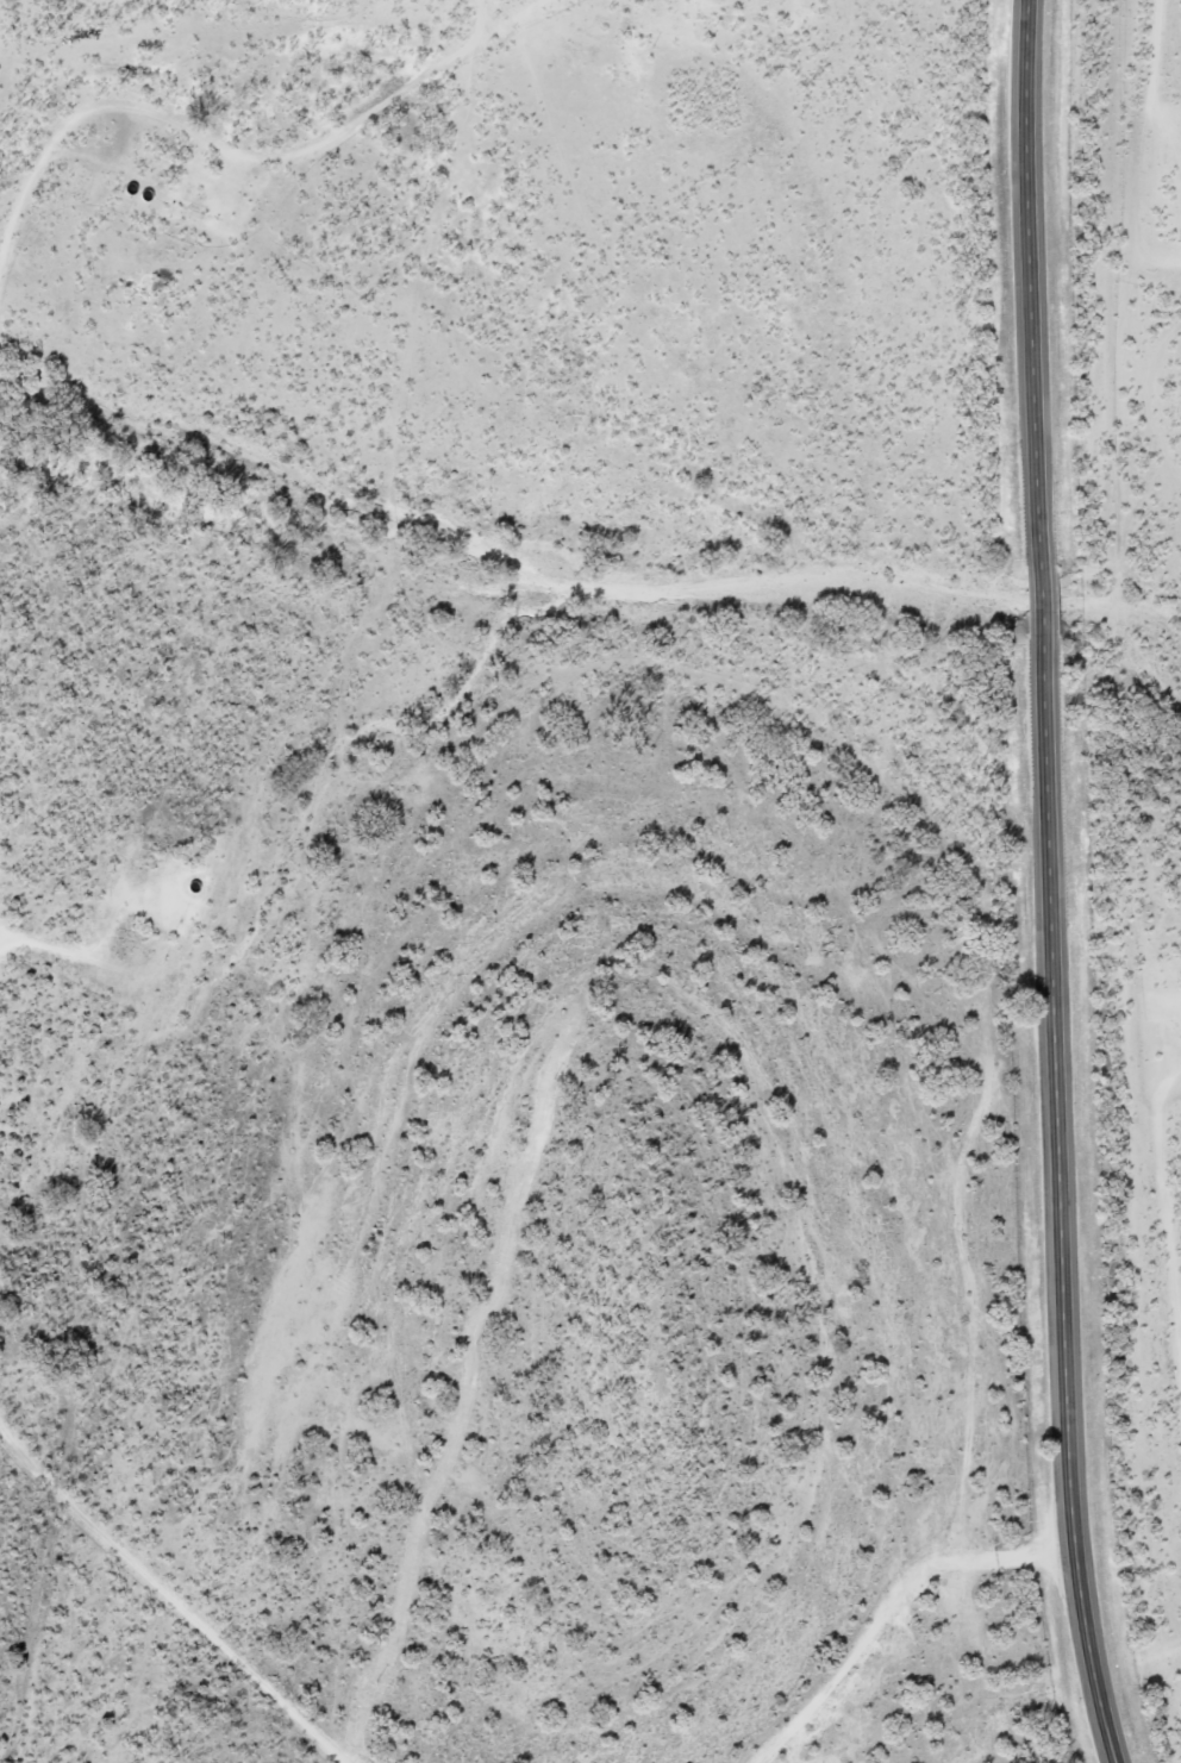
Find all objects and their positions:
road: (1031, 292)
road: (1038, 613)
road: (1060, 1205)

